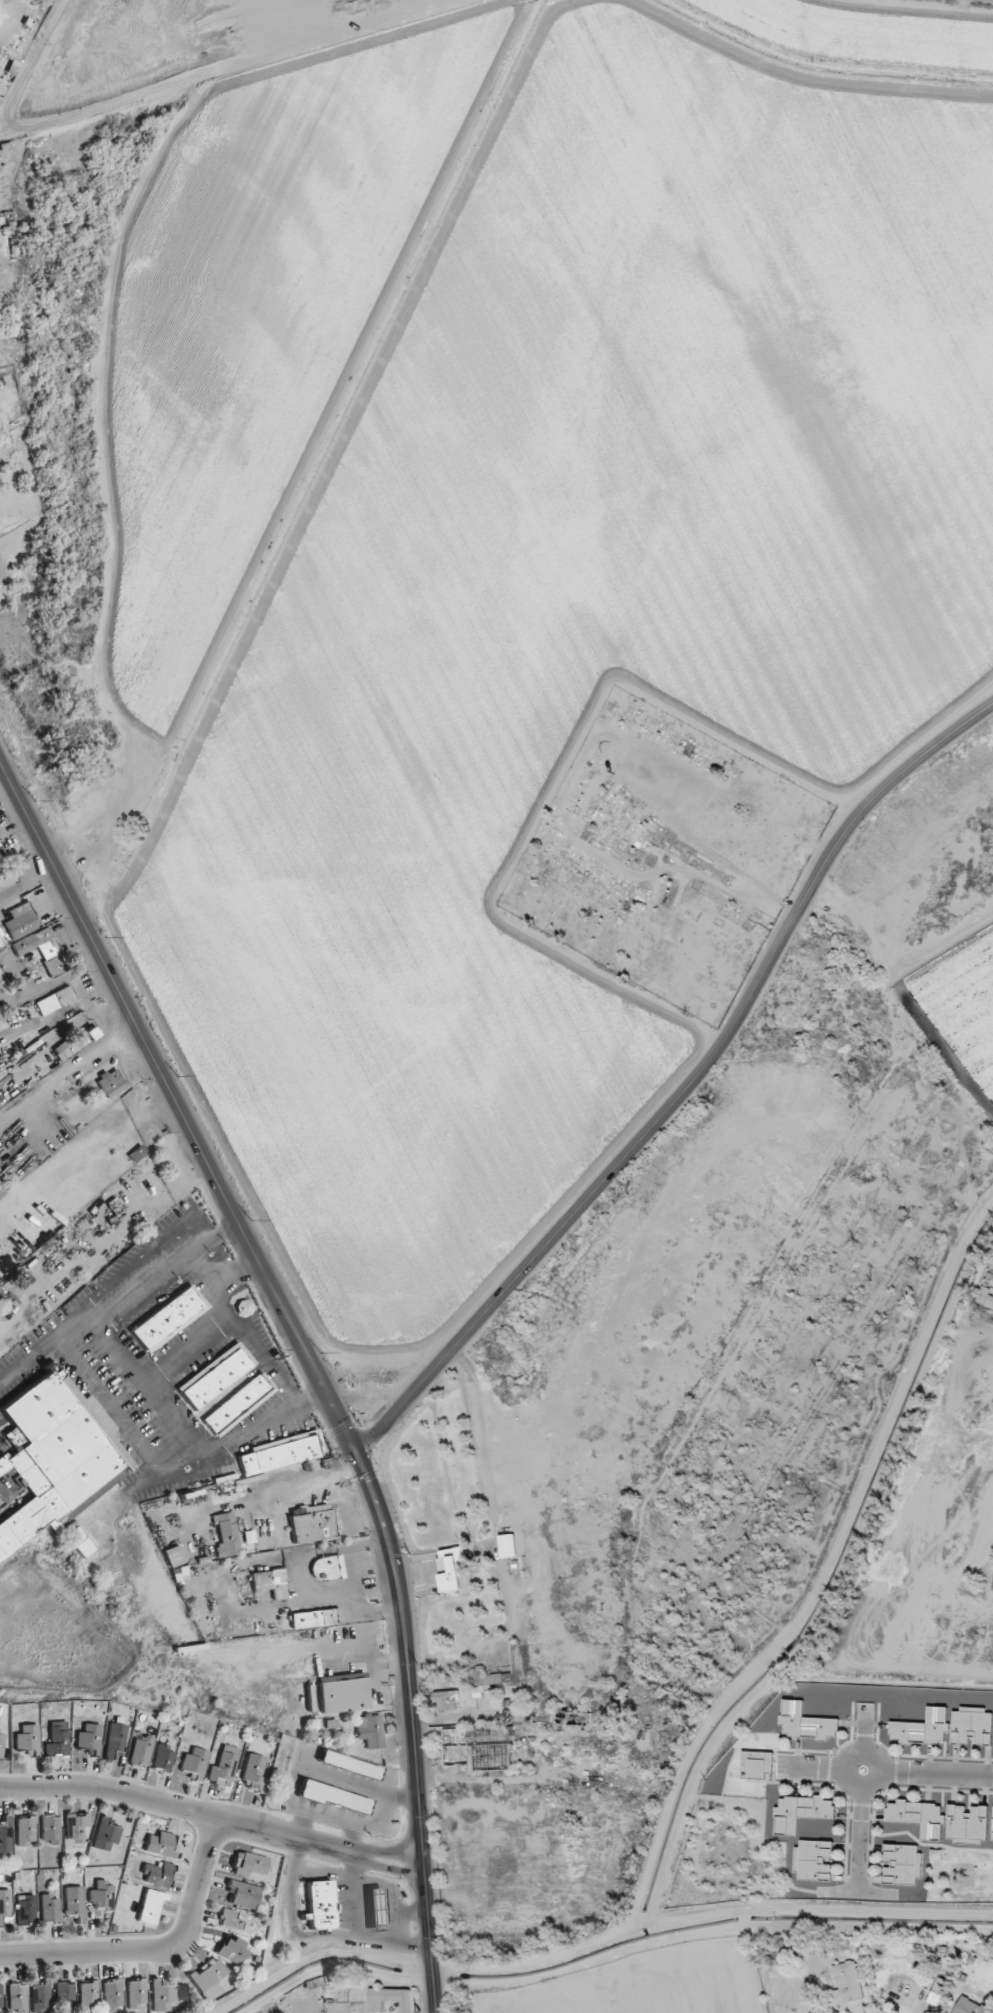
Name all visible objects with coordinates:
road: (15, 827)
park: (660, 856)
building: (6, 878)
building: (21, 921)
building: (55, 1000)
building: (76, 1043)
building: (111, 1083)
road: (689, 1086)
building: (1, 1189)
road: (236, 1274)
building: (985, 1297)
building: (244, 1308)
building: (168, 1318)
road: (236, 1319)
road: (188, 1348)
road: (310, 1359)
building: (217, 1377)
road: (151, 1390)
building: (238, 1404)
building: (282, 1454)
traffic signals: (359, 1454)
building: (55, 1458)
building: (312, 1523)
building: (226, 1535)
building: (507, 1545)
building: (173, 1556)
building: (328, 1567)
building: (452, 1568)
building: (271, 1583)
building: (316, 1619)
building: (446, 1701)
building: (805, 1721)
building: (971, 1726)
building: (922, 1728)
building: (370, 1731)
building: (89, 1738)
building: (115, 1739)
building: (27, 1740)
building: (58, 1740)
building: (2, 1742)
building: (142, 1749)
building: (477, 1749)
building: (164, 1758)
building: (195, 1762)
building: (756, 1764)
building: (225, 1765)
building: (350, 1765)
building: (254, 1772)
building: (334, 1797)
building: (800, 1812)
building: (918, 1817)
building: (967, 1824)
building: (76, 1828)
building: (50, 1829)
building: (26, 1831)
building: (6, 1835)
building: (106, 1835)
road: (317, 1841)
building: (161, 1844)
building: (813, 1860)
road: (206, 1863)
building: (249, 1864)
building: (902, 1864)
building: (158, 1874)
building: (243, 1893)
building: (102, 1895)
building: (74, 1902)
building: (5, 1903)
building: (320, 1906)
building: (150, 1907)
building: (376, 1908)
building: (26, 1909)
building: (50, 1910)
building: (230, 1919)
building: (209, 1979)
building: (846, 1984)
building: (937, 1991)
building: (137, 1993)
building: (89, 1995)
building: (167, 1995)
building: (65, 1996)
building: (113, 1996)
building: (0, 1998)
building: (17, 1998)
building: (41, 1998)
building: (393, 1999)
building: (969, 2006)

